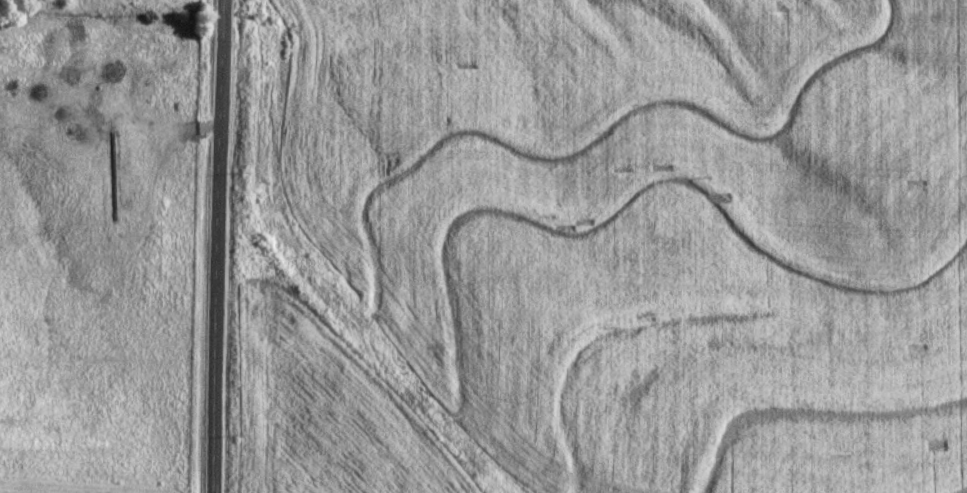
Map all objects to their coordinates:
road: (216, 246)

